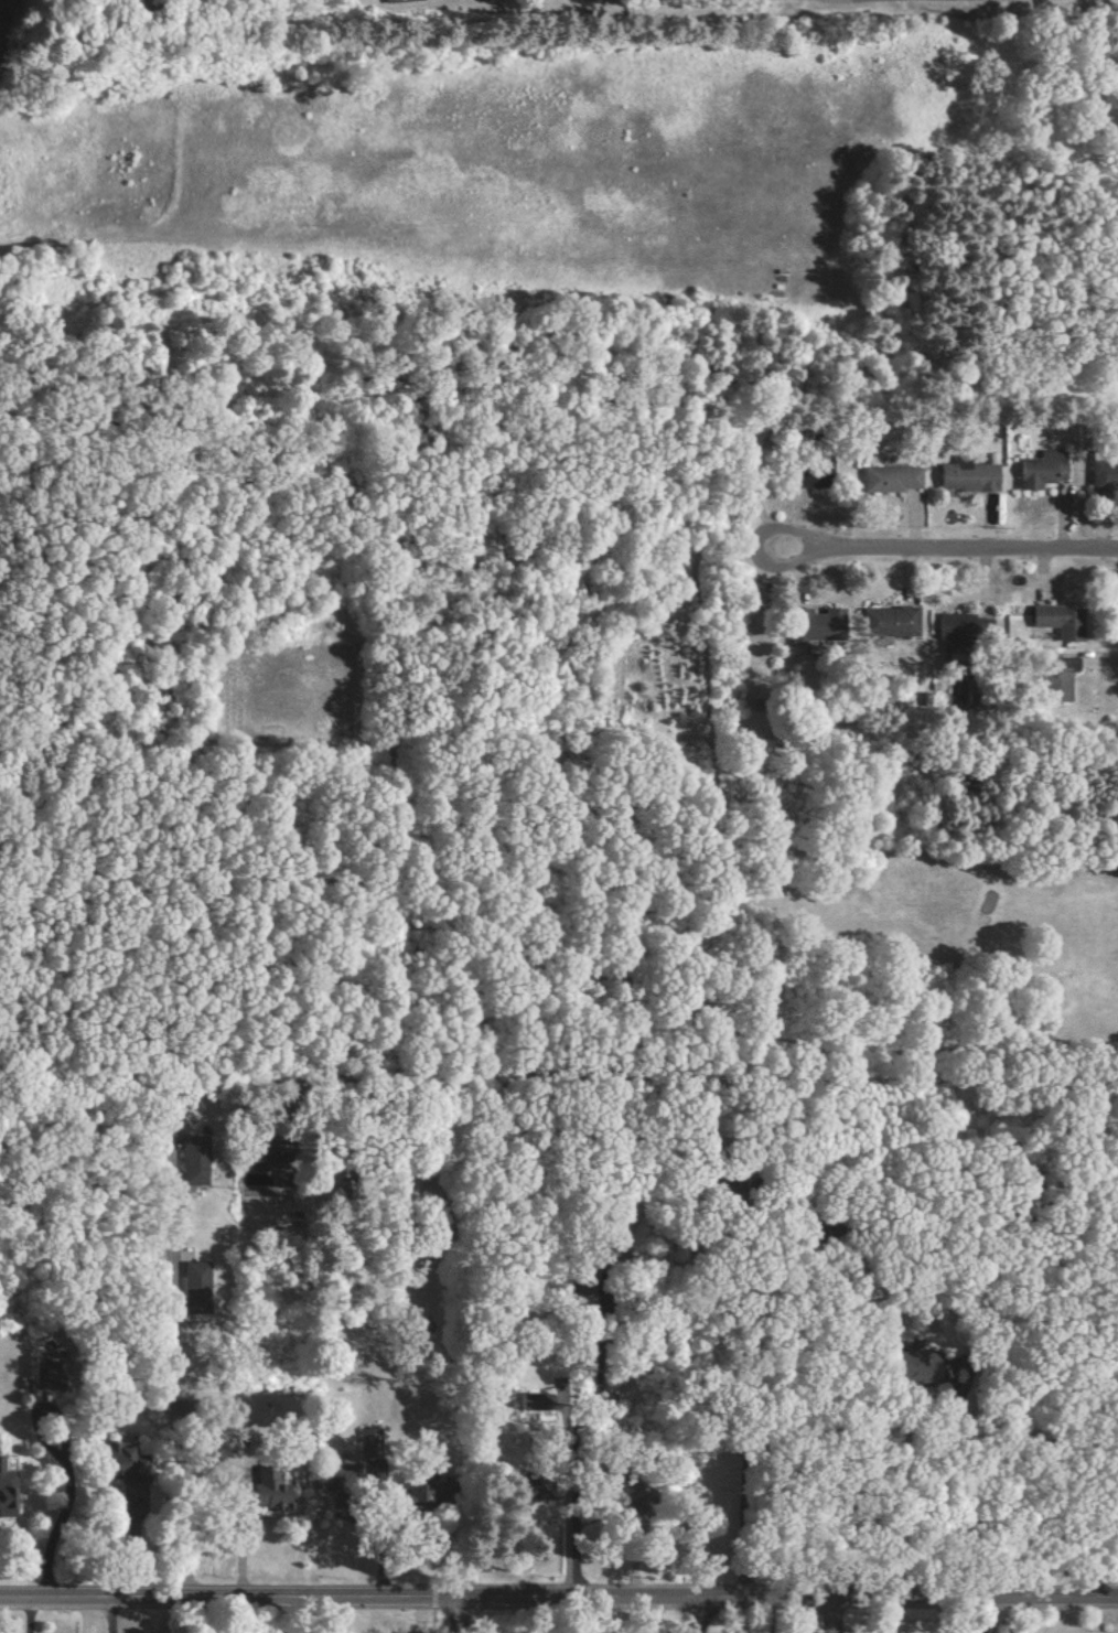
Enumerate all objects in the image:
building: (396, 0)
building: (1038, 470)
building: (1101, 472)
building: (810, 476)
building: (963, 477)
building: (886, 479)
road: (935, 549)
building: (1054, 621)
building: (884, 622)
building: (810, 625)
building: (957, 625)
building: (1054, 680)
road: (1075, 730)
building: (191, 1161)
road: (796, 1197)
building: (593, 1257)
road: (157, 1339)
building: (117, 1461)
building: (262, 1487)
building: (4, 1494)
road: (65, 1495)
road: (569, 1501)
road: (558, 1596)
road: (25, 1614)
road: (82, 1614)
road: (107, 1614)
road: (453, 1614)
road: (690, 1614)
road: (825, 1614)
road: (970, 1614)

